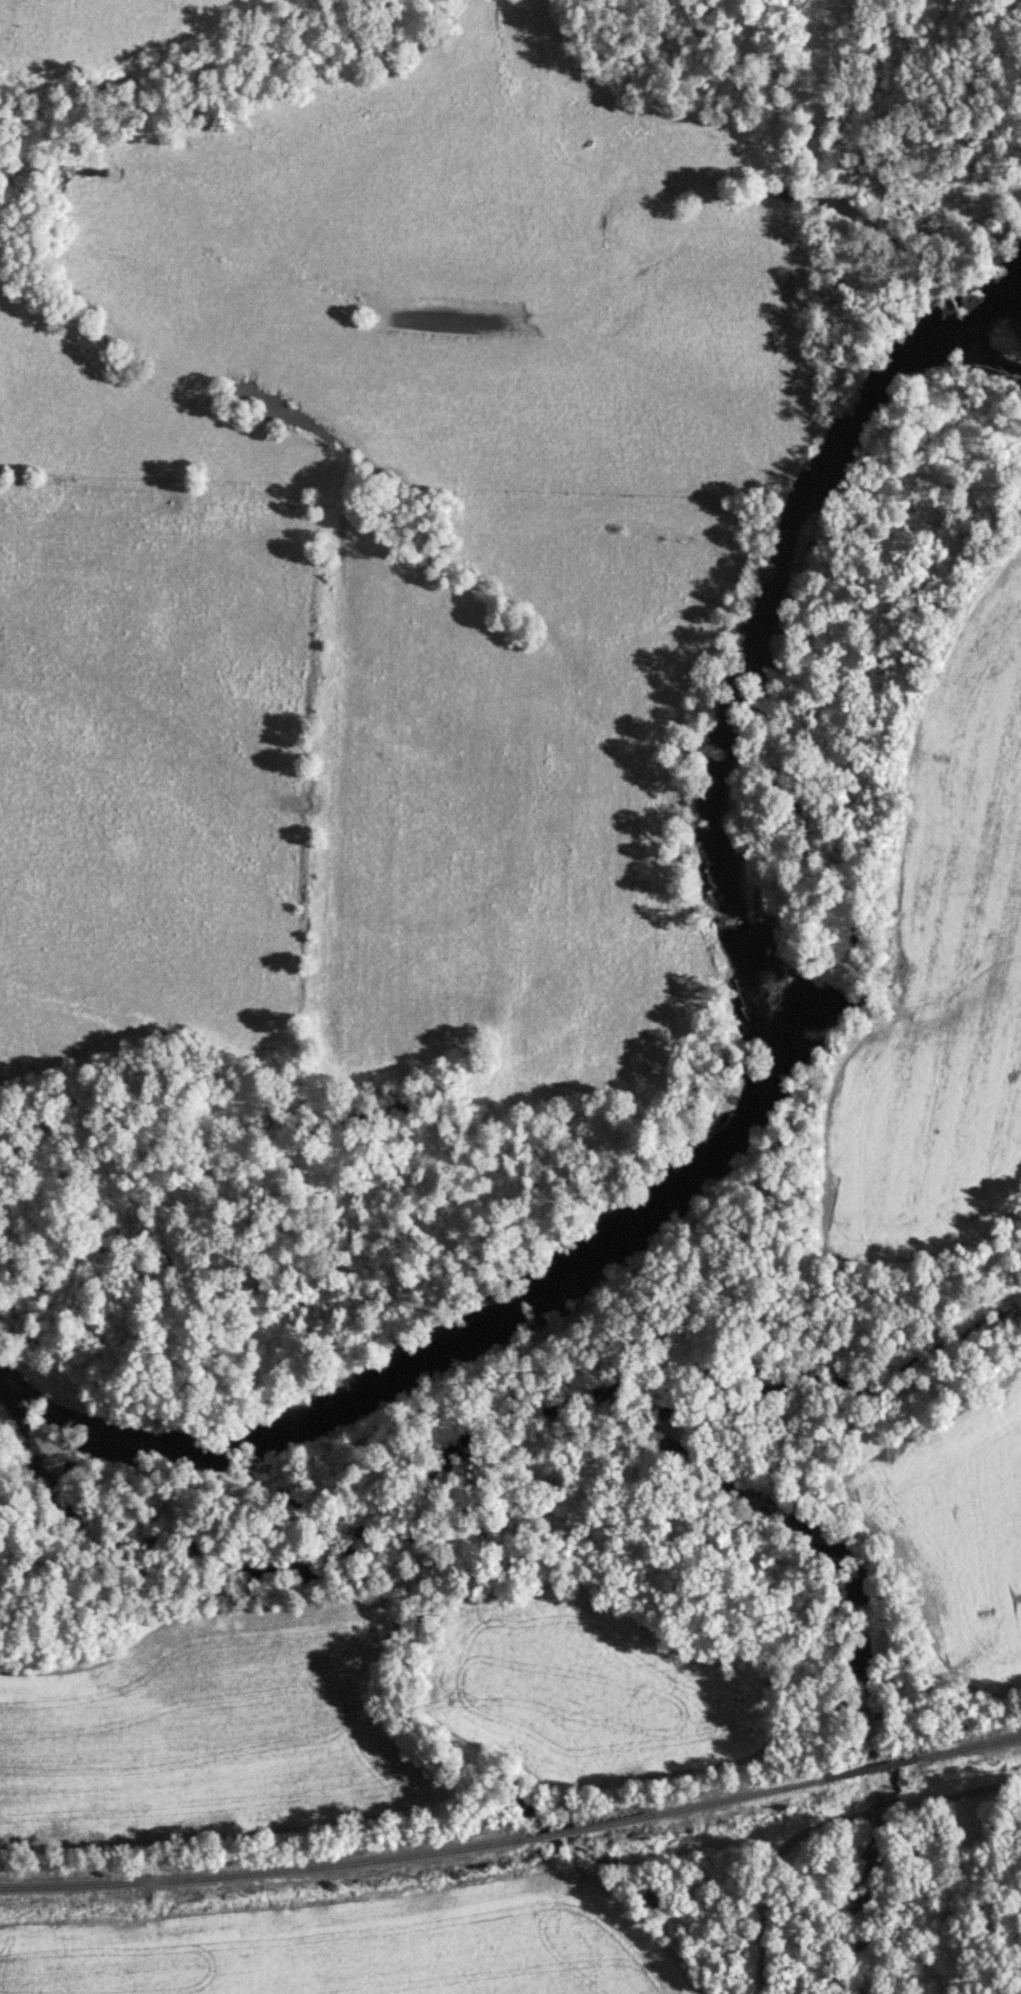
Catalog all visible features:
railway: (967, 1745)
railway: (868, 1767)
railway: (732, 1797)
railway: (585, 1826)
road: (829, 1826)
railway: (264, 1870)
road: (951, 1889)

